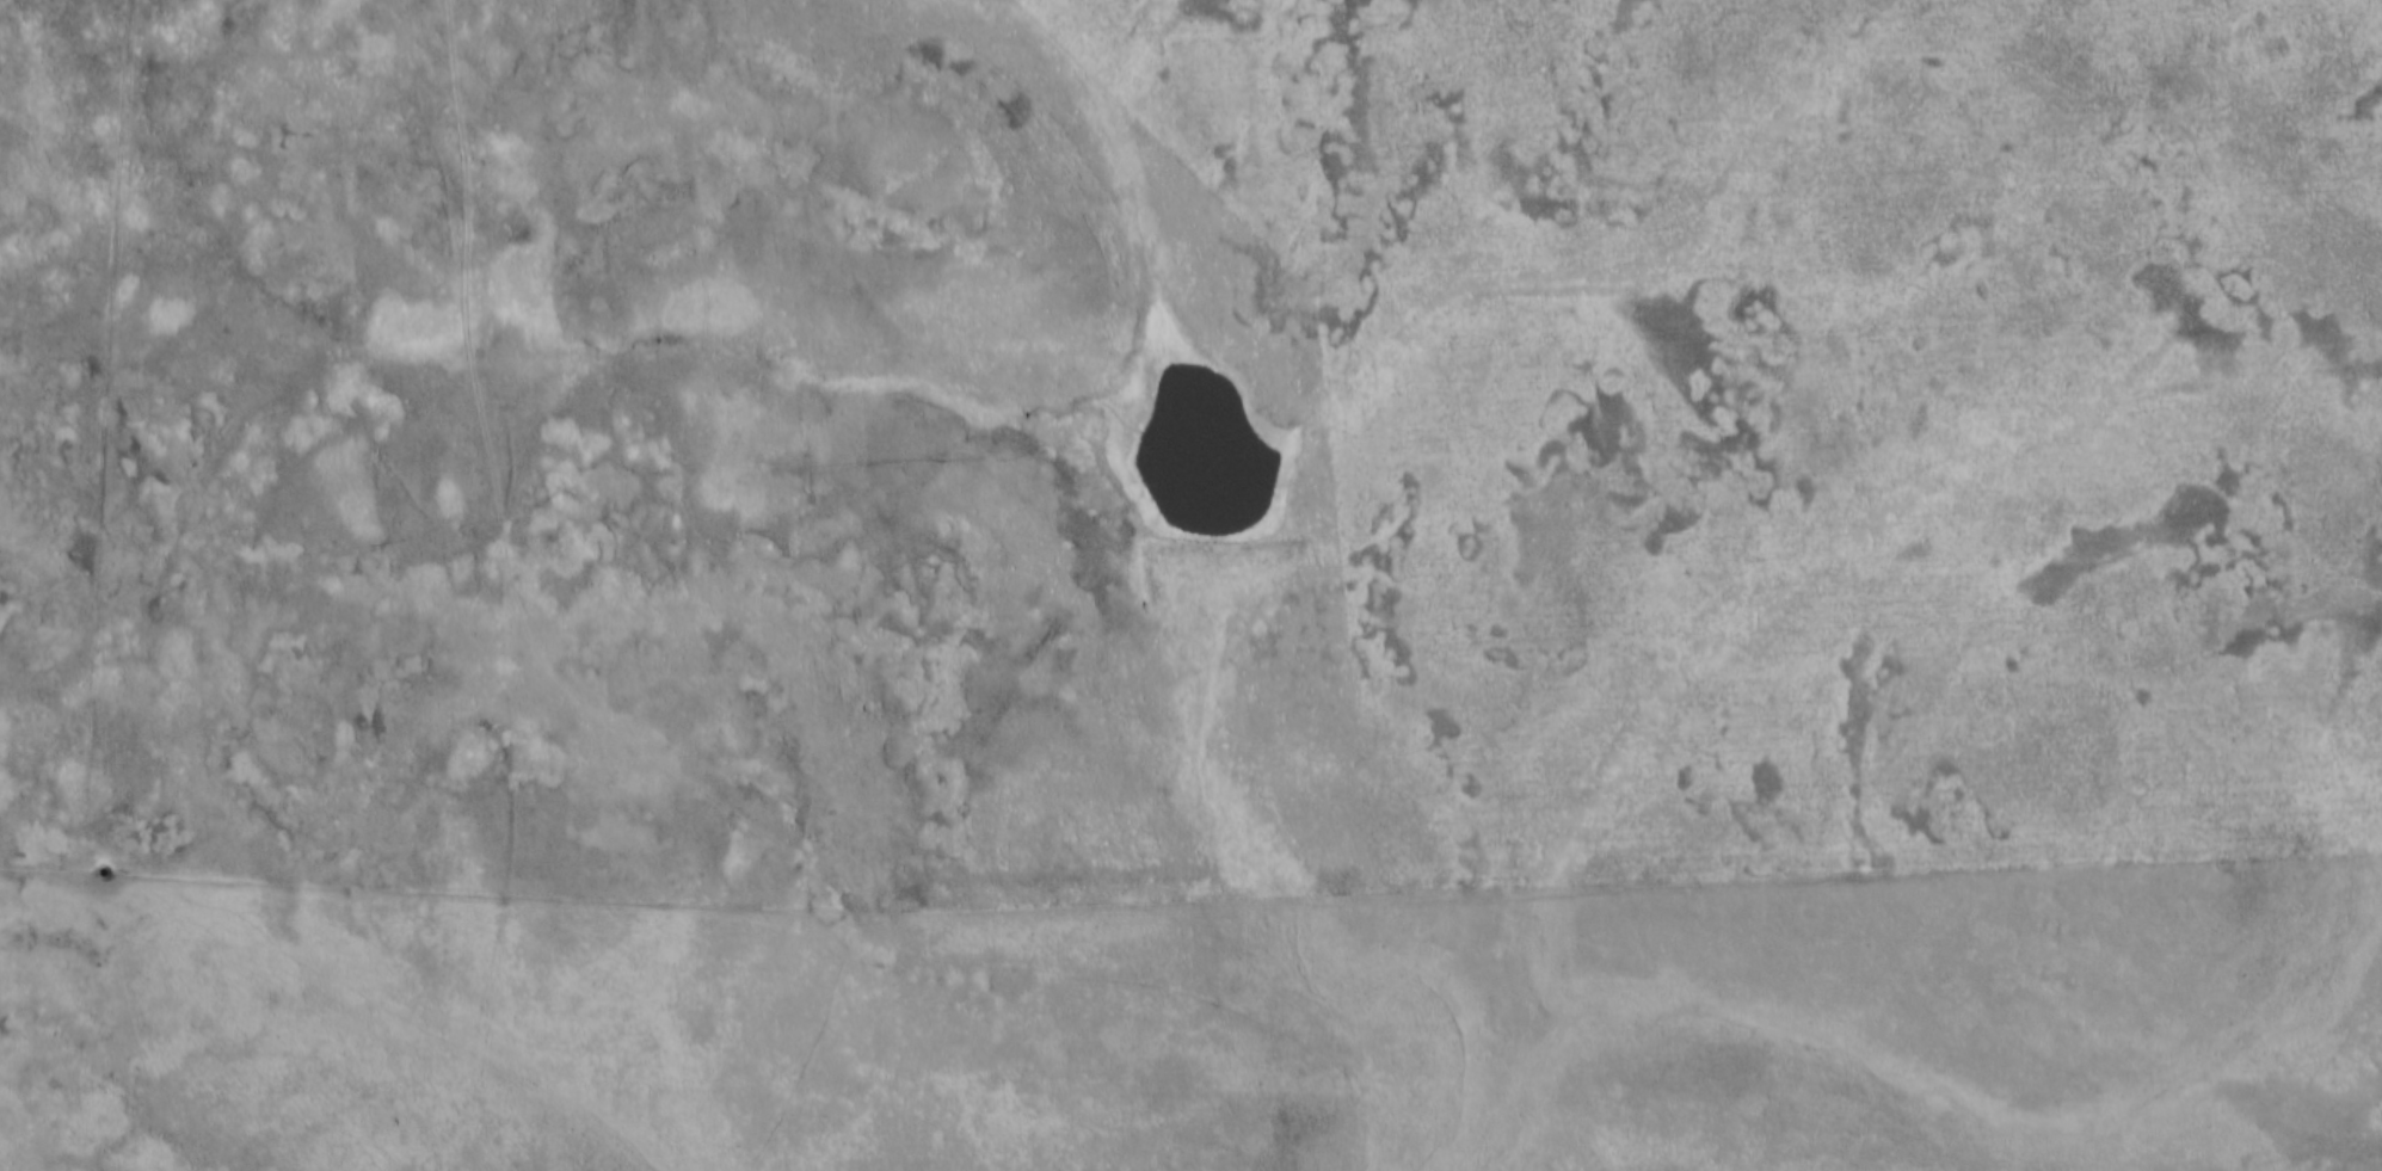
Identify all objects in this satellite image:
road: (1950, 294)
dam: (1225, 532)

